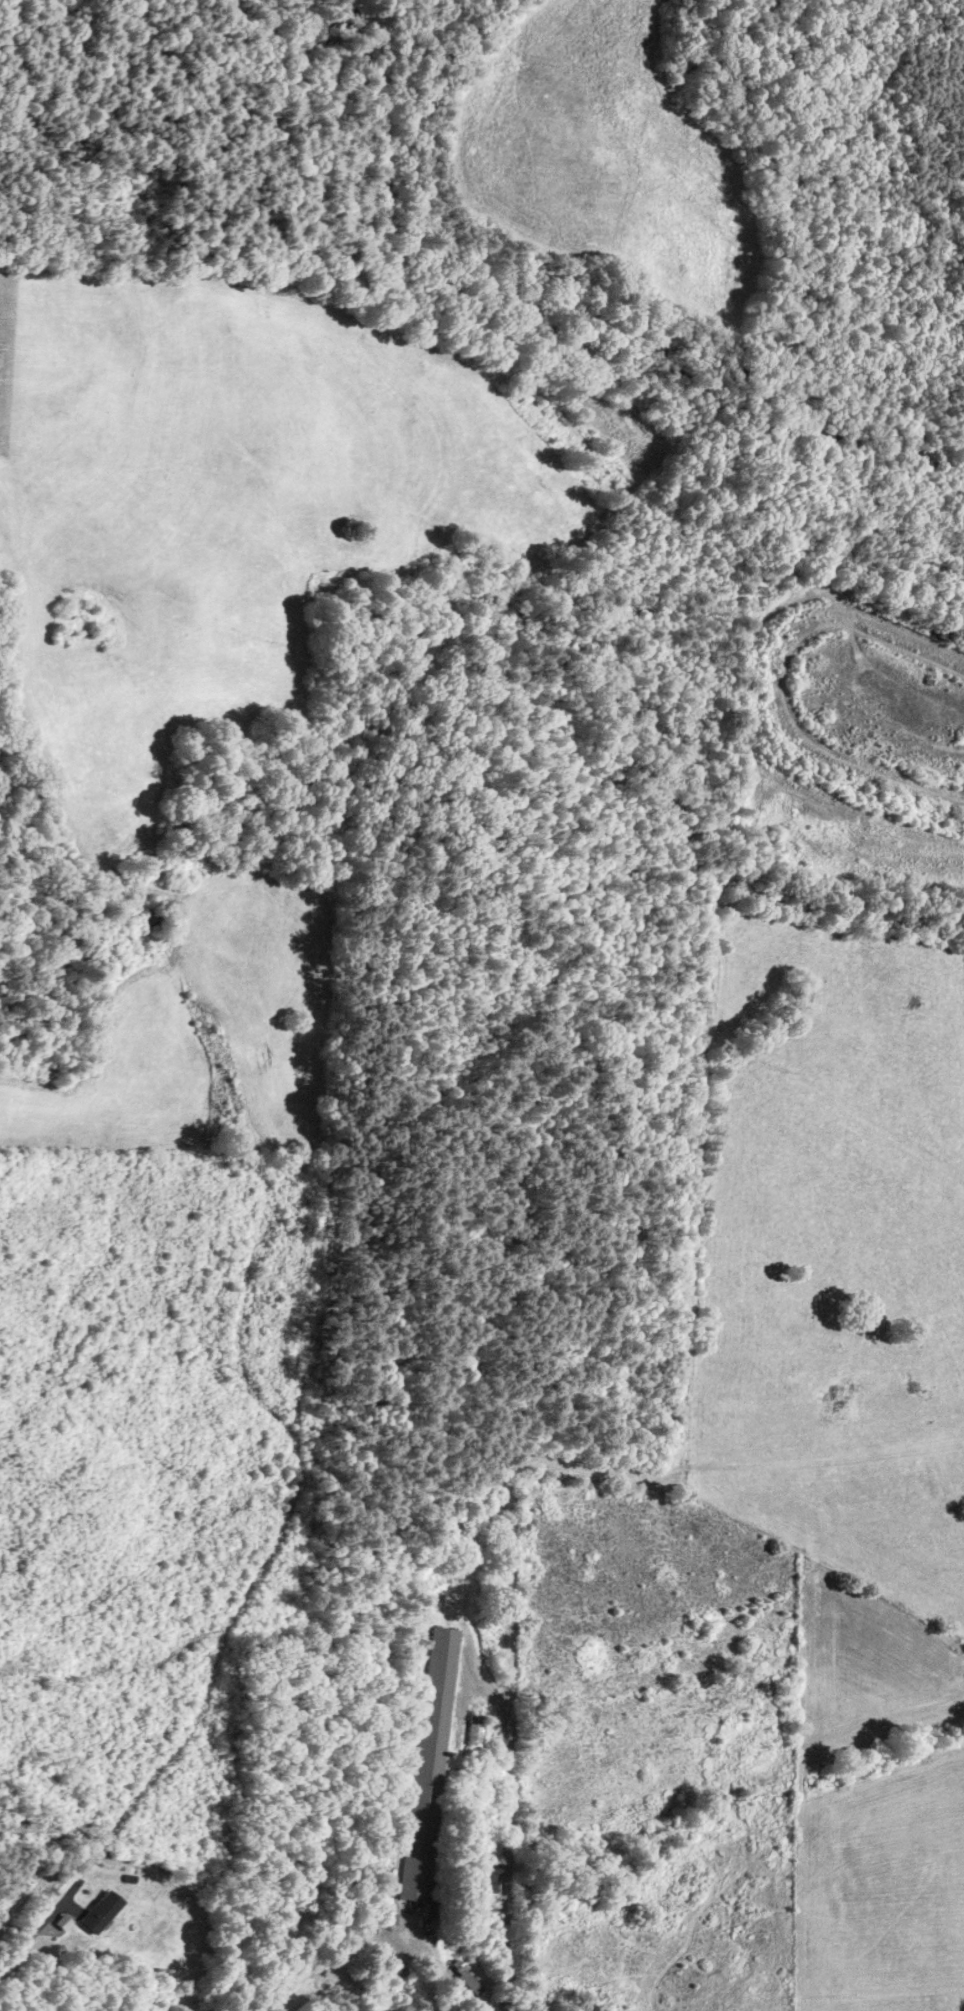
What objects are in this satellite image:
road: (640, 1478)
road: (814, 1548)
building: (411, 1660)
building: (475, 1730)
building: (429, 1770)
building: (381, 1912)
building: (101, 1913)
road: (19, 1942)
building: (467, 1977)

